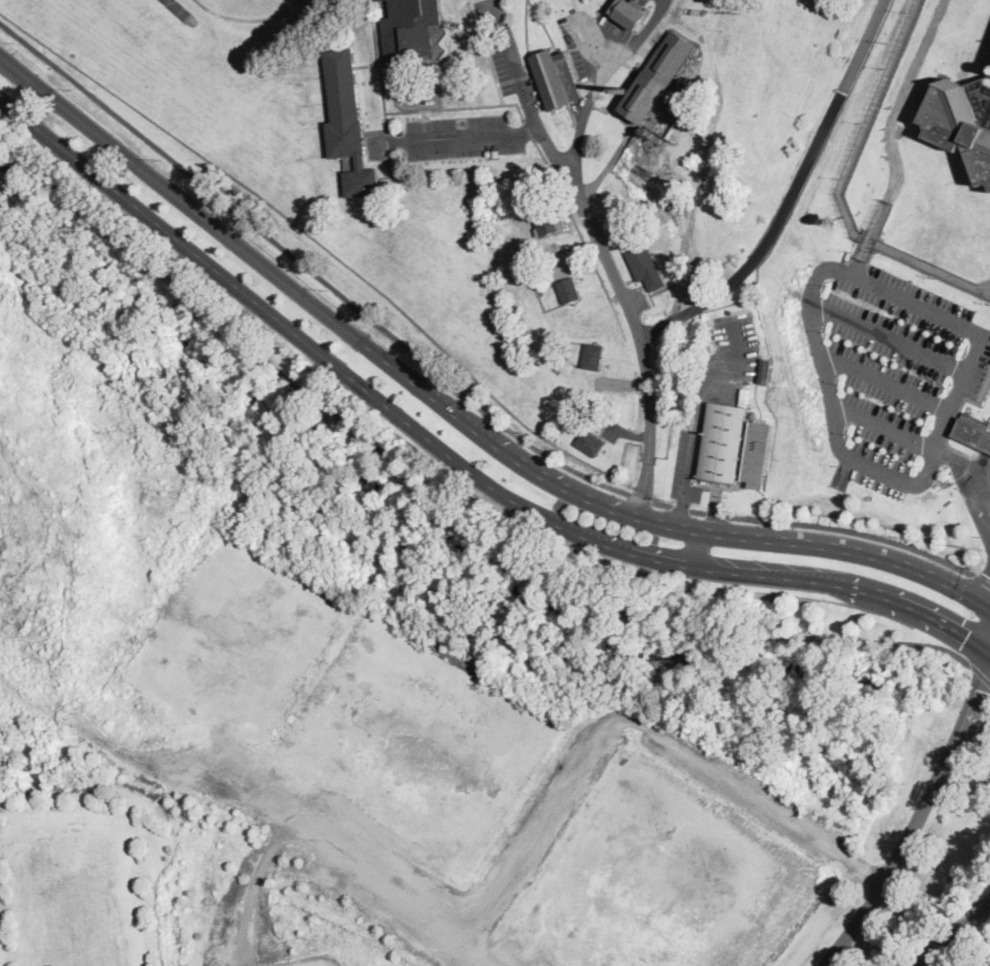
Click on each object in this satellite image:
building: (383, 0)
parking lot: (645, 0)
building: (629, 13)
building: (410, 29)
parking lot: (597, 42)
road: (591, 47)
road: (530, 54)
parking lot: (509, 56)
building: (558, 76)
road: (600, 80)
building: (658, 80)
building: (348, 123)
building: (958, 124)
parking lot: (461, 136)
road: (474, 136)
road: (793, 194)
building: (507, 214)
building: (549, 219)
building: (832, 220)
road: (603, 251)
building: (642, 257)
road: (828, 266)
road: (308, 268)
building: (569, 291)
road: (887, 336)
parking lot: (736, 338)
building: (593, 357)
parking lot: (888, 370)
building: (766, 371)
road: (884, 382)
road: (455, 412)
road: (882, 426)
parking lot: (612, 430)
building: (972, 430)
building: (590, 443)
building: (723, 443)
building: (987, 443)
road: (693, 449)
building: (757, 454)
road: (453, 458)
parking lot: (681, 463)
road: (963, 466)
road: (641, 497)
road: (438, 504)
road: (816, 525)
road: (982, 579)
traffic signals: (968, 635)
road: (980, 675)
park: (407, 684)
traffic signals: (982, 689)
road: (971, 714)
road: (626, 722)
road: (892, 870)
park: (75, 887)
road: (400, 893)
railway: (954, 935)

